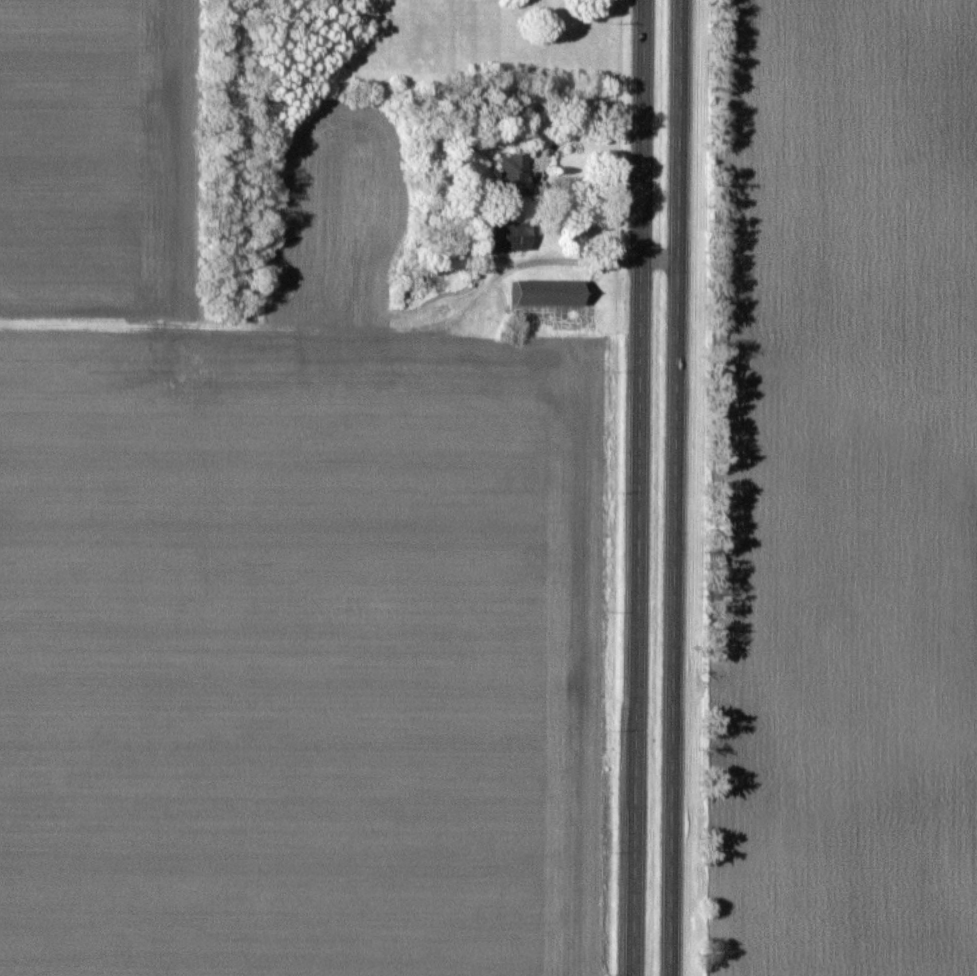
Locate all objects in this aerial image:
road: (578, 135)
crop: (100, 162)
building: (515, 173)
building: (537, 193)
crop: (336, 213)
building: (509, 234)
road: (576, 261)
building: (547, 292)
road: (639, 487)
road: (675, 488)
crop: (844, 492)

